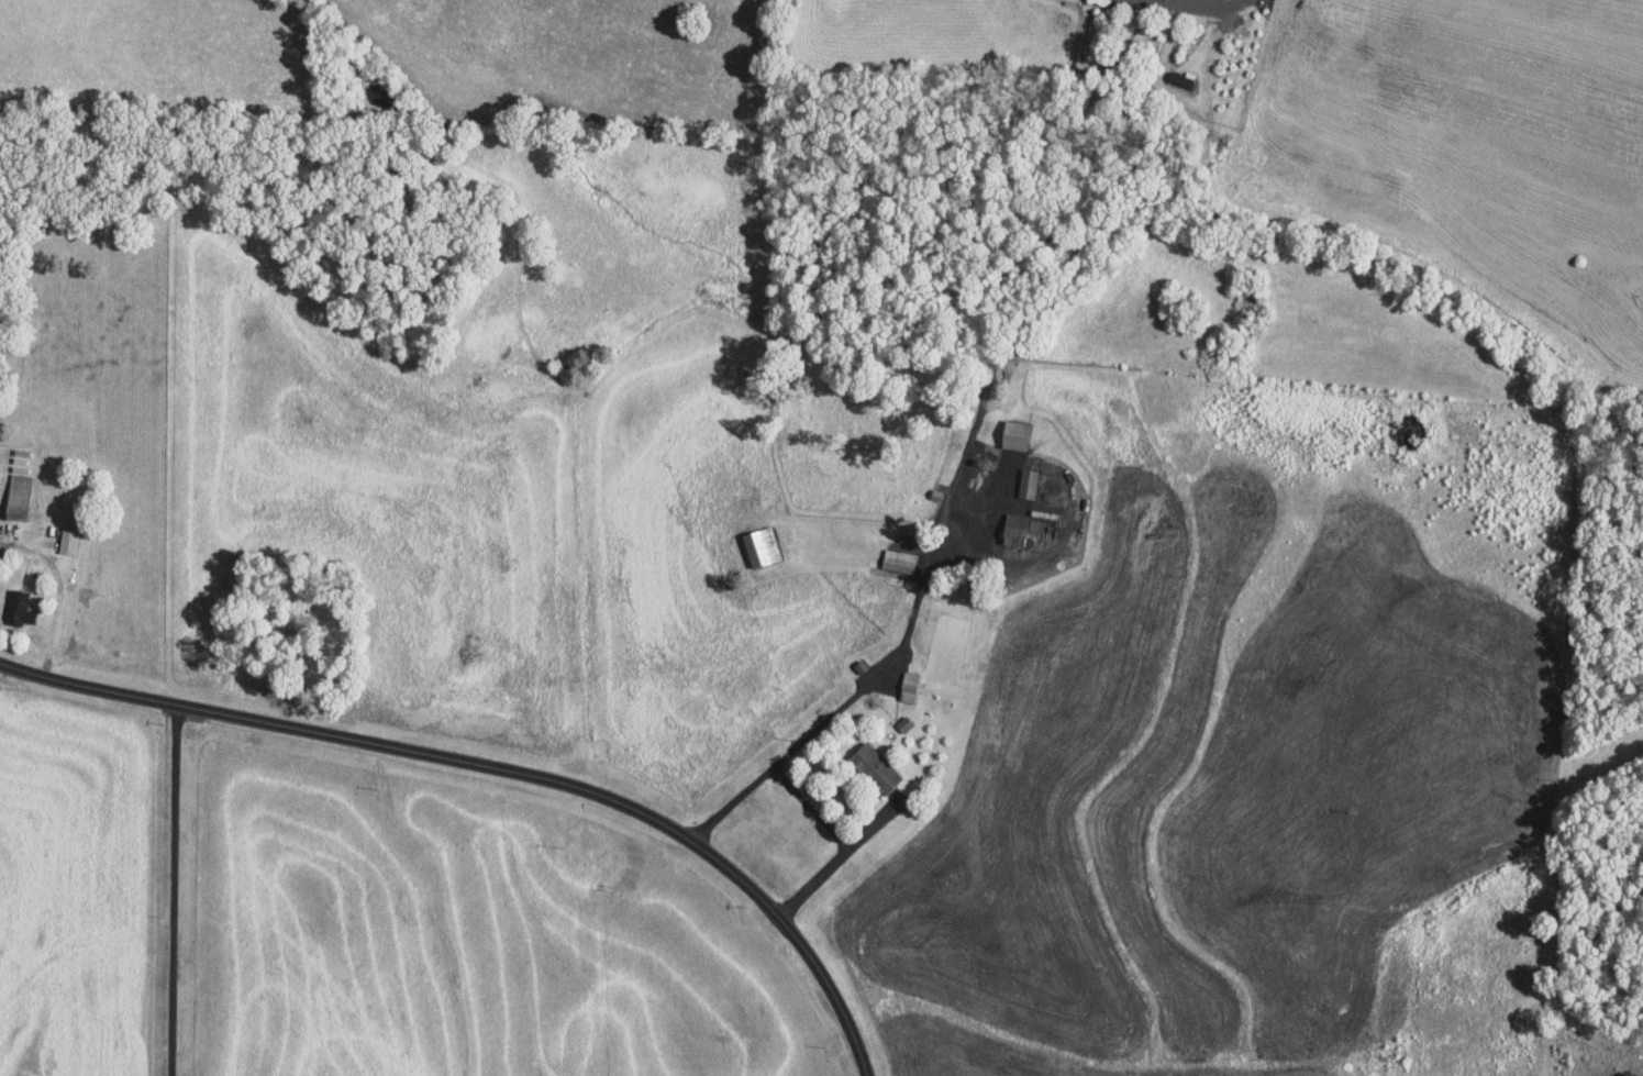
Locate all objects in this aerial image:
road: (1218, 1)
building: (1013, 435)
building: (1025, 484)
building: (16, 497)
building: (1013, 529)
building: (66, 541)
building: (758, 546)
building: (897, 561)
road: (57, 595)
building: (18, 608)
building: (907, 687)
road: (861, 689)
building: (872, 767)
road: (493, 769)
road: (843, 862)
road: (173, 894)

